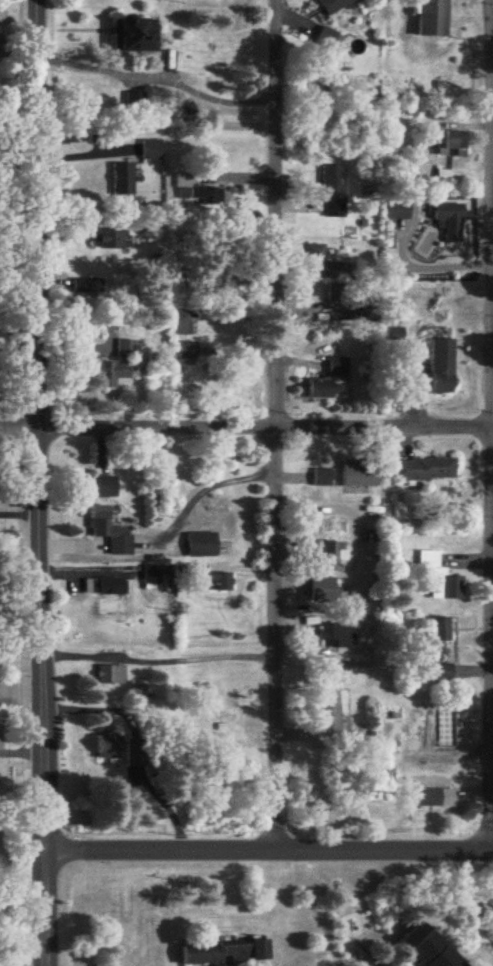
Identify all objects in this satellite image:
building: (335, 5)
building: (433, 19)
building: (133, 35)
building: (328, 38)
road: (158, 75)
building: (133, 100)
building: (452, 144)
building: (151, 150)
building: (443, 178)
building: (123, 179)
building: (334, 192)
building: (205, 196)
building: (450, 221)
building: (111, 238)
building: (314, 256)
building: (88, 287)
building: (182, 322)
building: (392, 331)
building: (186, 351)
building: (440, 367)
building: (112, 368)
building: (326, 380)
road: (36, 425)
road: (277, 426)
road: (246, 433)
building: (424, 470)
road: (490, 472)
building: (361, 474)
building: (323, 479)
building: (104, 487)
building: (110, 531)
building: (201, 545)
building: (329, 556)
building: (151, 577)
building: (210, 578)
building: (441, 579)
building: (105, 587)
building: (325, 590)
building: (337, 634)
building: (440, 635)
building: (443, 673)
building: (110, 675)
building: (328, 712)
building: (449, 728)
building: (107, 747)
building: (136, 751)
building: (455, 807)
road: (266, 851)
road: (39, 908)
building: (420, 949)
building: (223, 953)

